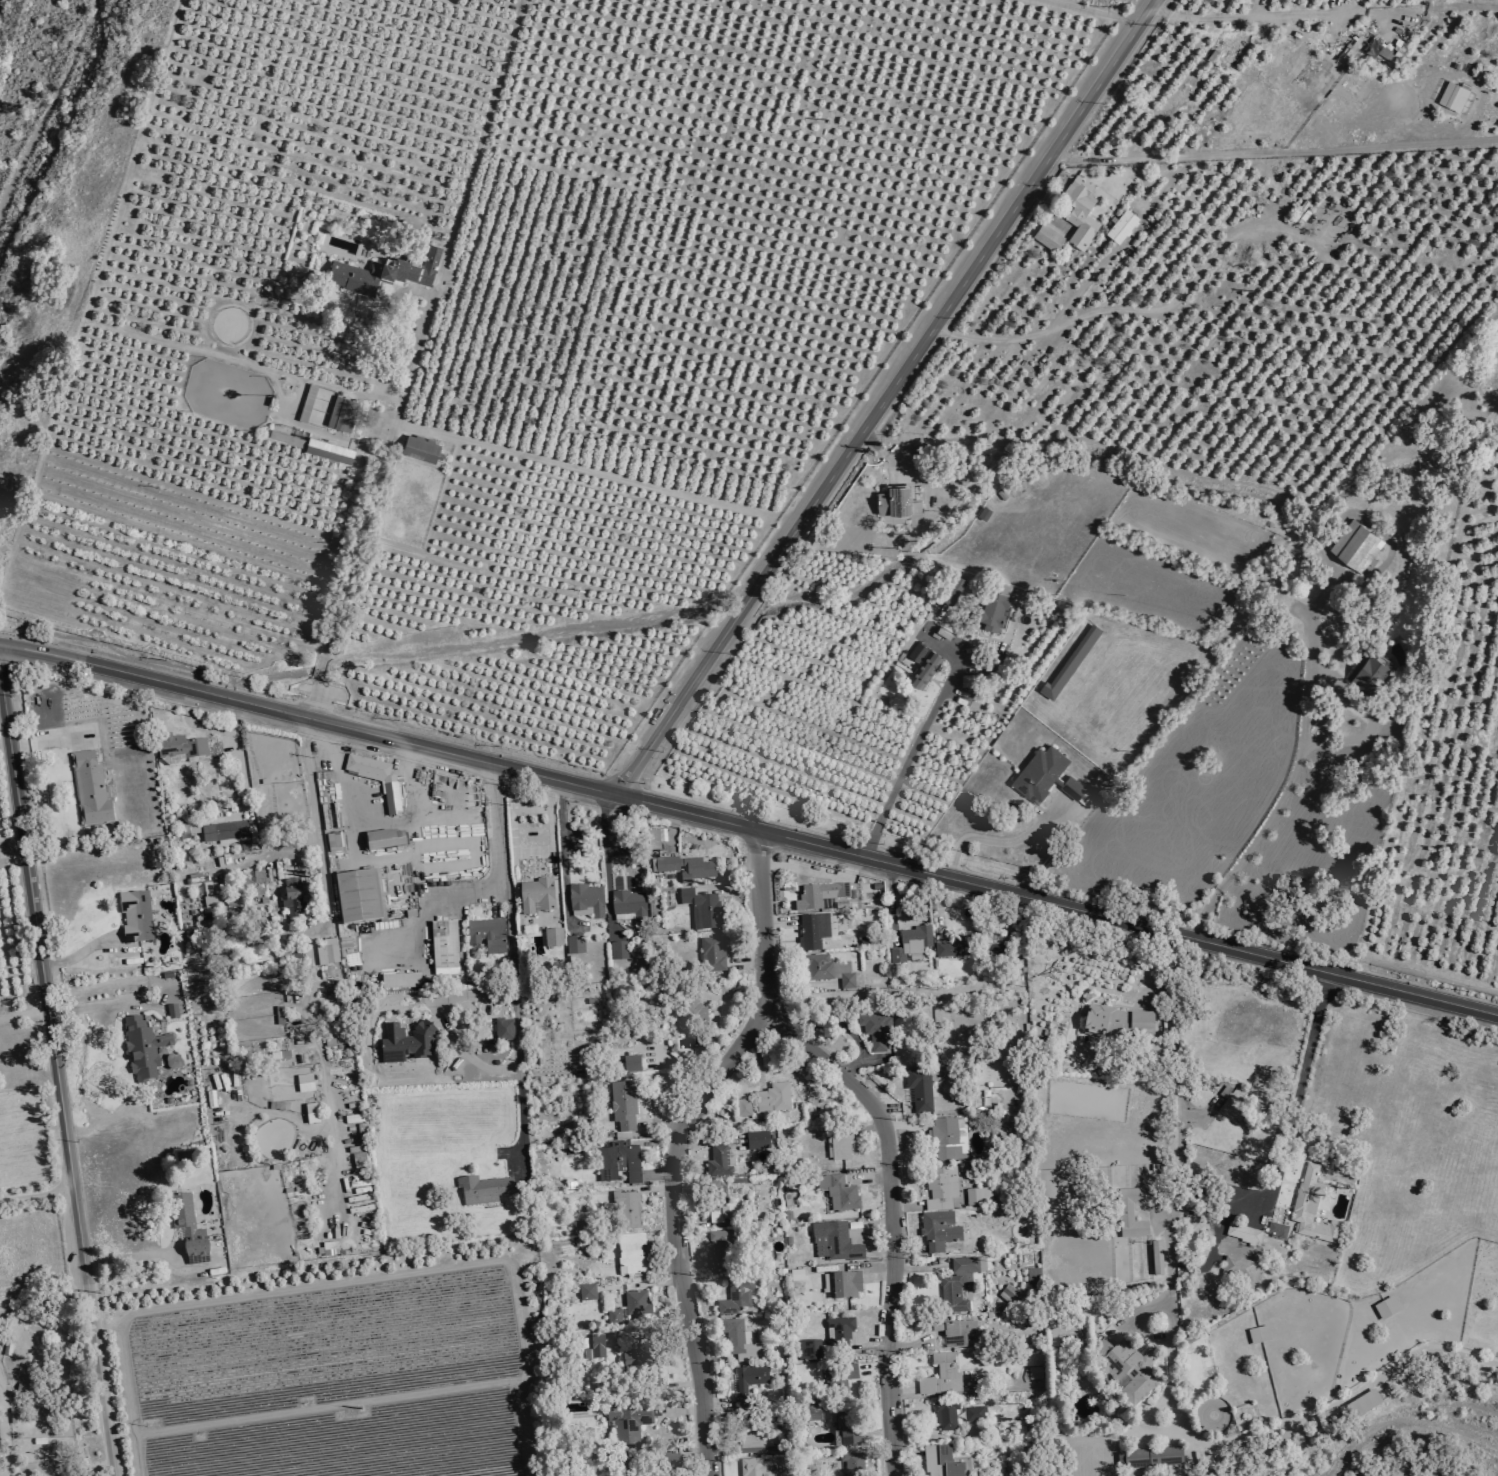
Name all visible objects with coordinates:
road: (1097, 11)
road: (1276, 16)
building: (1379, 50)
building: (1307, 65)
building: (1454, 97)
building: (1081, 212)
building: (1123, 226)
building: (1050, 238)
road: (98, 253)
road: (958, 293)
road: (420, 328)
road: (1040, 332)
building: (308, 403)
building: (342, 414)
building: (423, 449)
building: (330, 451)
road: (886, 453)
building: (896, 498)
building: (917, 507)
road: (793, 536)
road: (800, 540)
building: (1358, 544)
road: (839, 546)
building: (950, 586)
road: (746, 605)
building: (994, 605)
building: (1072, 661)
road: (316, 667)
building: (922, 668)
building: (1374, 671)
building: (965, 678)
road: (307, 698)
road: (675, 709)
road: (204, 726)
road: (916, 738)
road: (44, 742)
building: (176, 747)
road: (239, 774)
building: (1044, 776)
building: (377, 779)
building: (87, 787)
road: (1288, 788)
road: (312, 808)
building: (177, 827)
road: (749, 827)
building: (188, 830)
building: (222, 831)
building: (386, 839)
building: (653, 840)
building: (334, 841)
road: (1000, 842)
building: (241, 844)
road: (10, 849)
road: (564, 851)
road: (605, 857)
road: (369, 861)
building: (688, 868)
building: (209, 895)
building: (818, 895)
building: (359, 896)
building: (537, 896)
building: (293, 898)
road: (437, 901)
building: (587, 901)
building: (630, 905)
building: (702, 909)
road: (760, 914)
building: (136, 917)
road: (509, 919)
building: (813, 931)
building: (487, 935)
building: (554, 937)
building: (912, 943)
building: (575, 945)
building: (960, 946)
building: (445, 947)
building: (1000, 949)
building: (619, 951)
building: (328, 952)
road: (81, 954)
building: (713, 954)
building: (828, 970)
building: (401, 981)
road: (93, 1010)
building: (172, 1012)
building: (693, 1013)
building: (279, 1015)
road: (22, 1016)
road: (441, 1020)
building: (1122, 1023)
building: (504, 1029)
building: (874, 1031)
building: (406, 1043)
building: (141, 1048)
building: (280, 1056)
building: (632, 1064)
building: (305, 1083)
road: (54, 1086)
building: (920, 1089)
road: (1297, 1089)
building: (774, 1098)
building: (624, 1105)
building: (744, 1108)
building: (1234, 1109)
building: (312, 1113)
building: (943, 1137)
building: (758, 1140)
building: (835, 1150)
building: (720, 1161)
building: (619, 1162)
building: (941, 1188)
building: (483, 1190)
road: (36, 1196)
building: (979, 1197)
building: (844, 1198)
building: (1313, 1207)
building: (627, 1209)
road: (889, 1212)
building: (730, 1213)
building: (1132, 1213)
road: (667, 1226)
building: (188, 1229)
building: (939, 1230)
building: (1278, 1230)
building: (1244, 1234)
building: (835, 1242)
building: (327, 1249)
building: (722, 1250)
building: (632, 1256)
road: (130, 1257)
building: (1158, 1258)
building: (1239, 1268)
building: (797, 1275)
building: (1035, 1276)
building: (828, 1283)
building: (959, 1283)
building: (847, 1285)
building: (588, 1292)
building: (1010, 1293)
building: (737, 1297)
building: (638, 1302)
road: (42, 1306)
building: (1387, 1308)
building: (614, 1317)
building: (840, 1330)
building: (958, 1333)
building: (1260, 1335)
building: (1066, 1338)
building: (740, 1341)
building: (595, 1348)
building: (810, 1350)
building: (642, 1363)
building: (1437, 1365)
building: (1127, 1369)
building: (942, 1376)
building: (748, 1383)
building: (1365, 1405)
building: (815, 1413)
building: (975, 1414)
building: (947, 1415)
building: (629, 1423)
building: (848, 1429)
building: (1283, 1439)
building: (767, 1440)
building: (749, 1442)
building: (1155, 1458)
building: (672, 1461)
building: (854, 1464)
building: (753, 1467)

